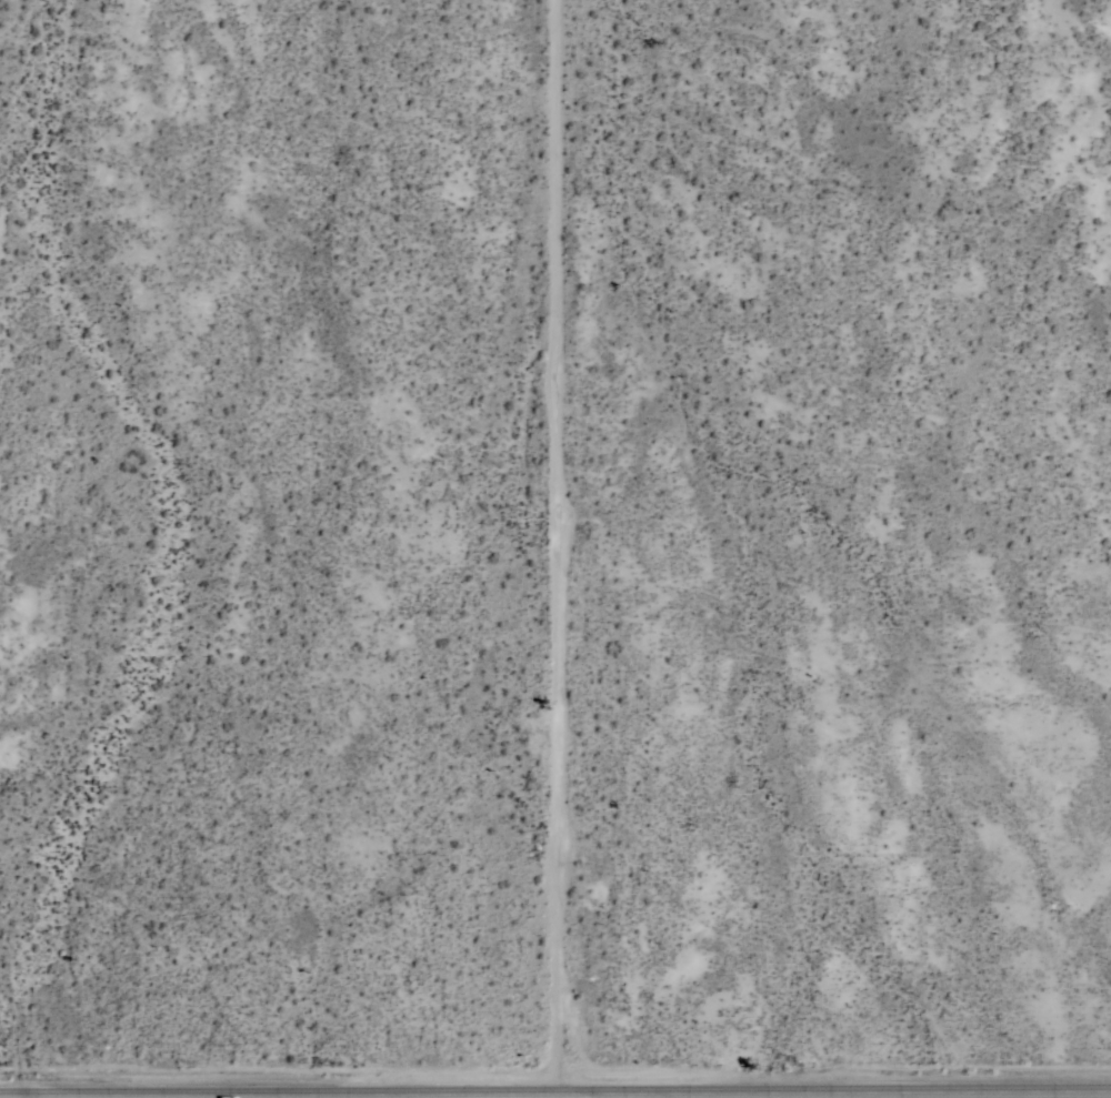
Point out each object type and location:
road: (559, 546)
road: (554, 1094)
road: (461, 1096)

